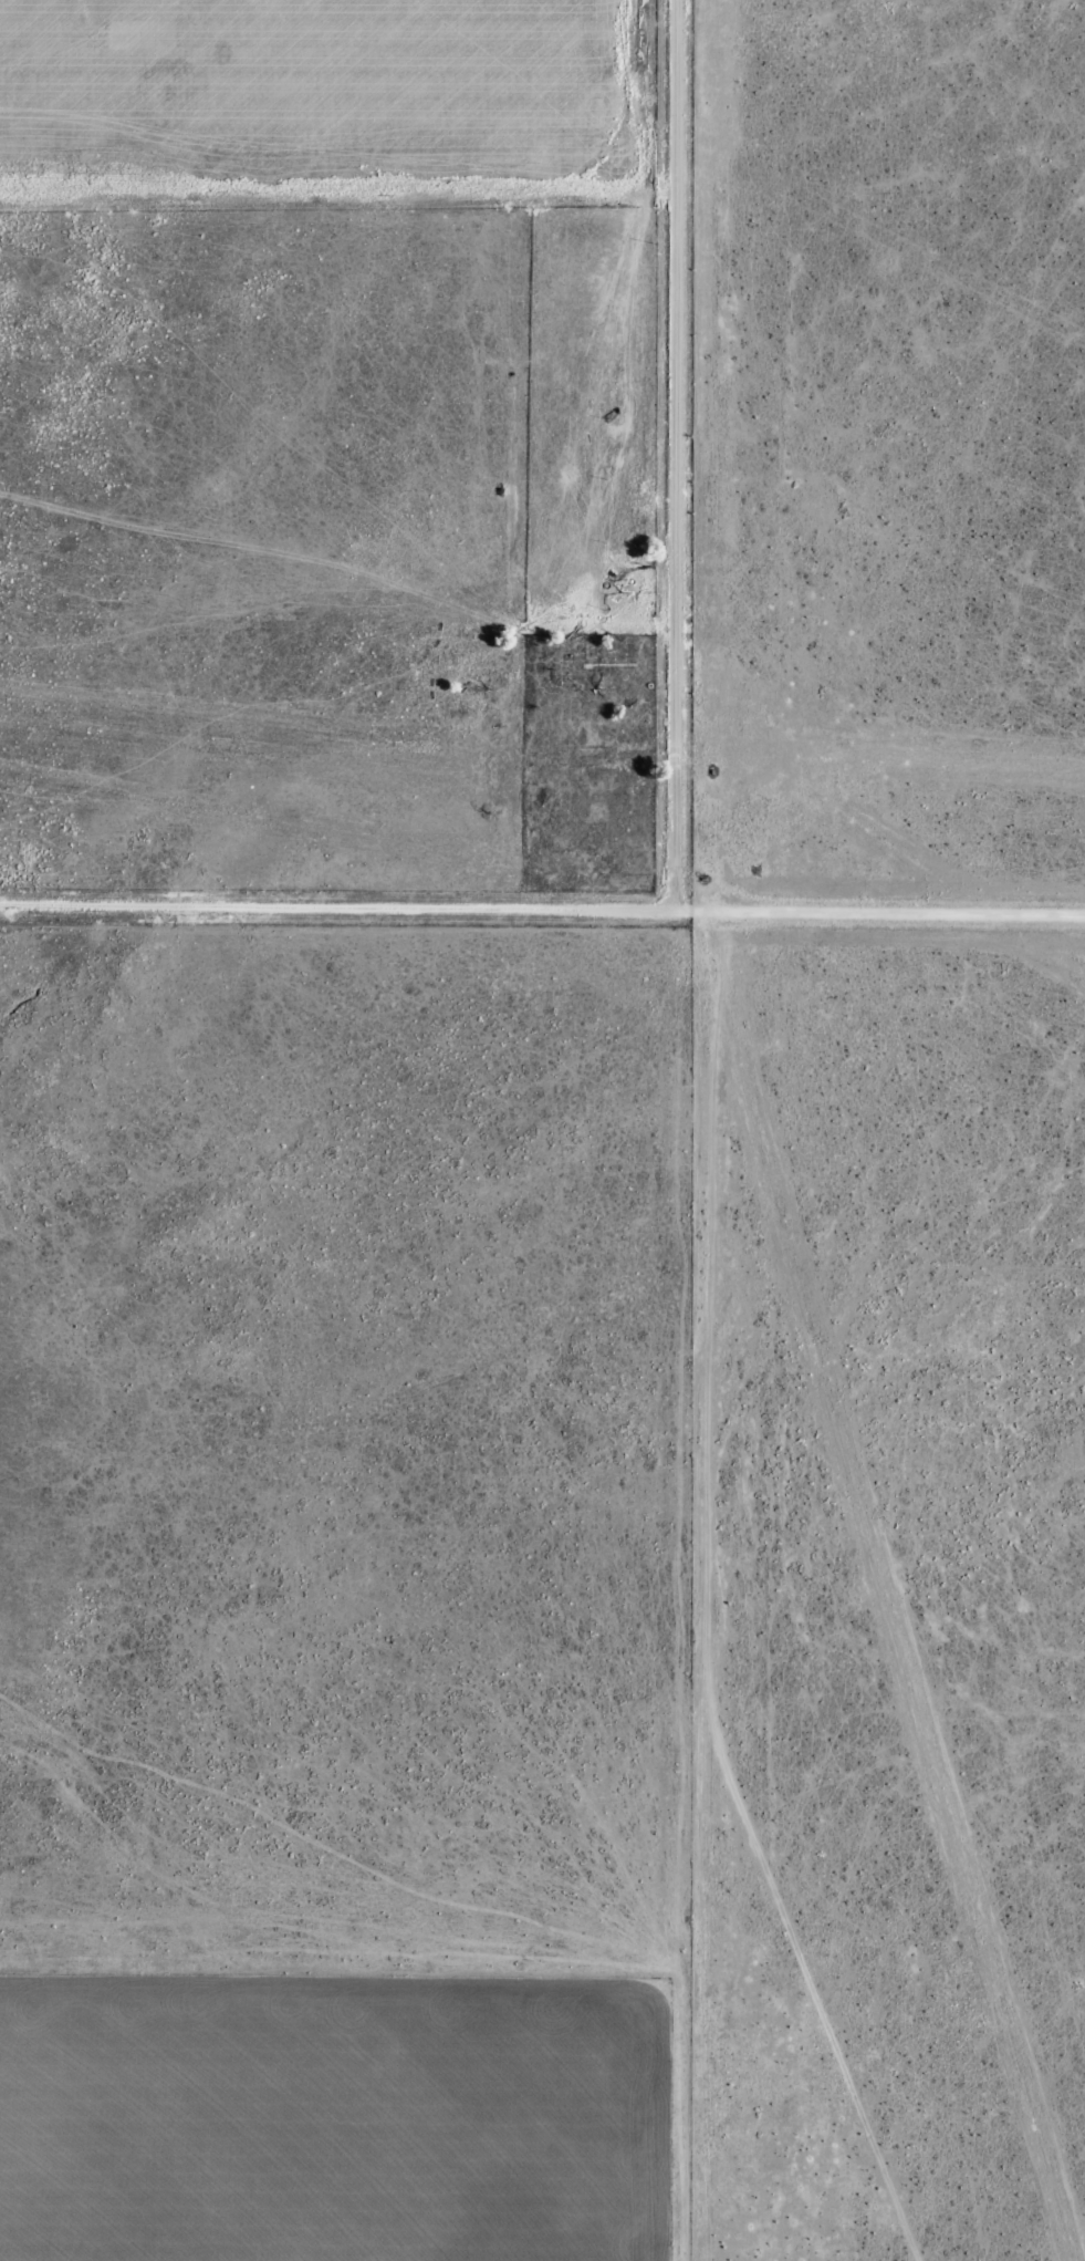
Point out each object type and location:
road: (667, 453)
road: (332, 903)
road: (676, 1583)

